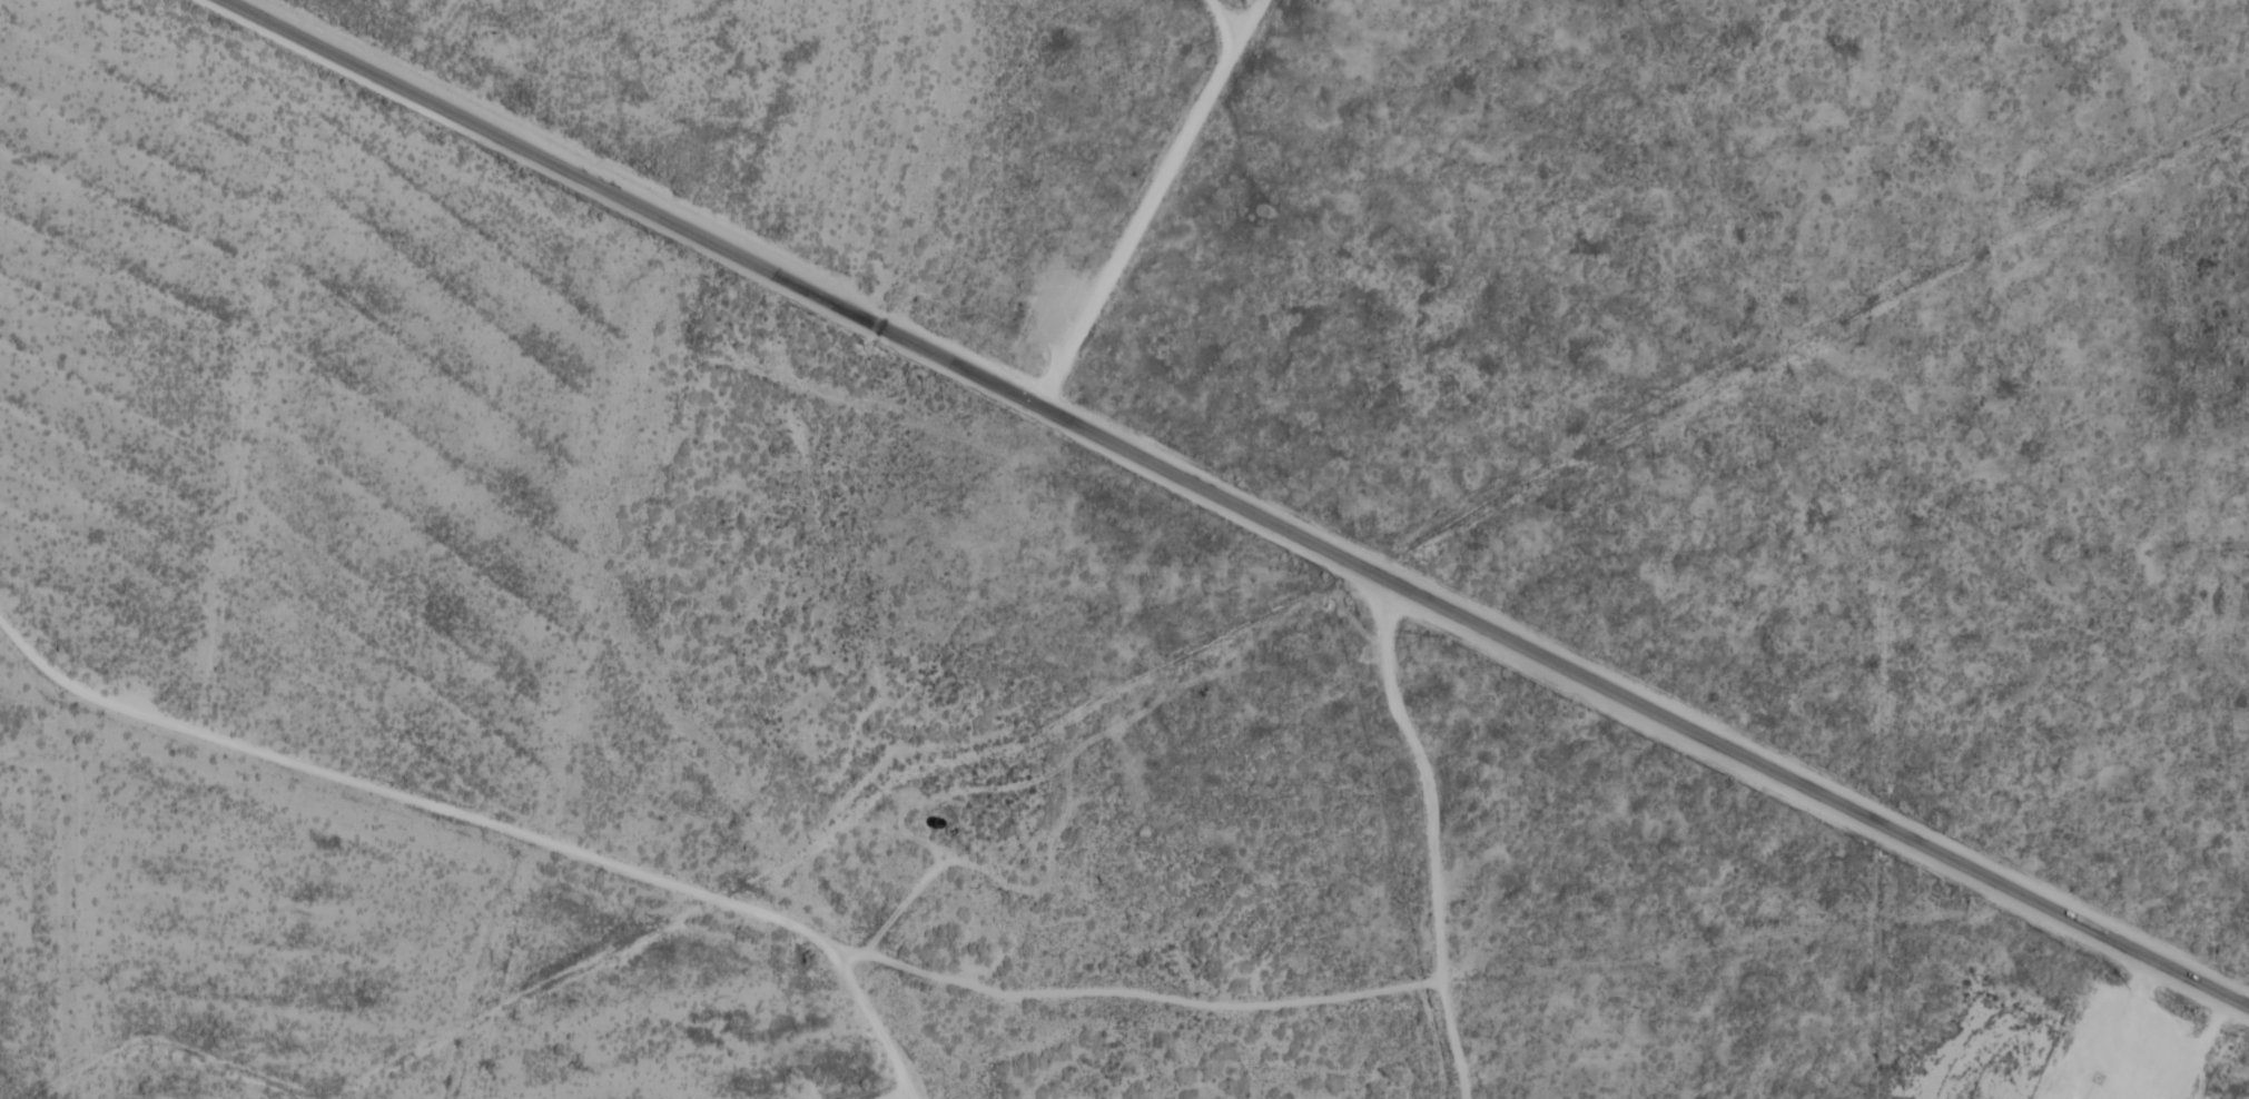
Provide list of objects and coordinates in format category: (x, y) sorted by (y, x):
road: (1150, 202)
road: (1237, 506)
road: (1432, 838)
road: (703, 893)
road: (907, 901)
road: (1024, 901)
road: (870, 1006)
road: (2206, 1048)

